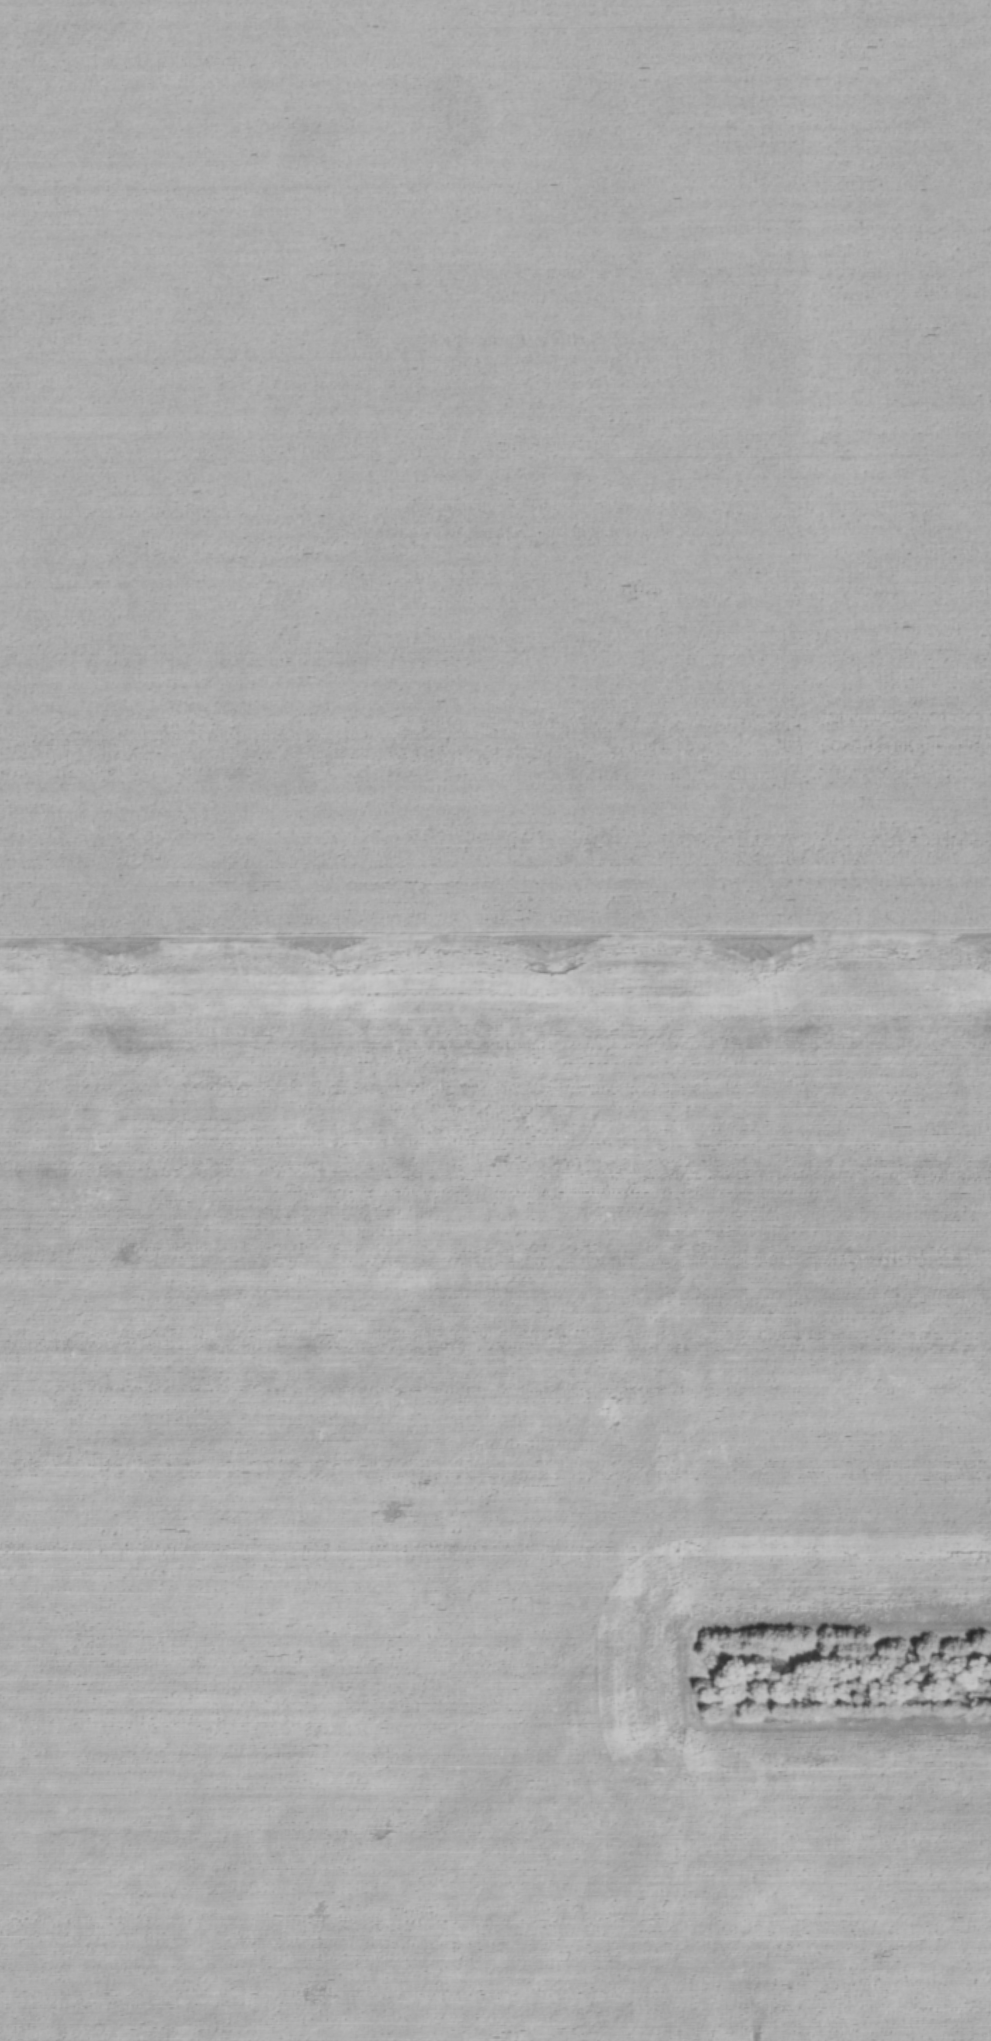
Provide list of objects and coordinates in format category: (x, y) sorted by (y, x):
road: (495, 922)

